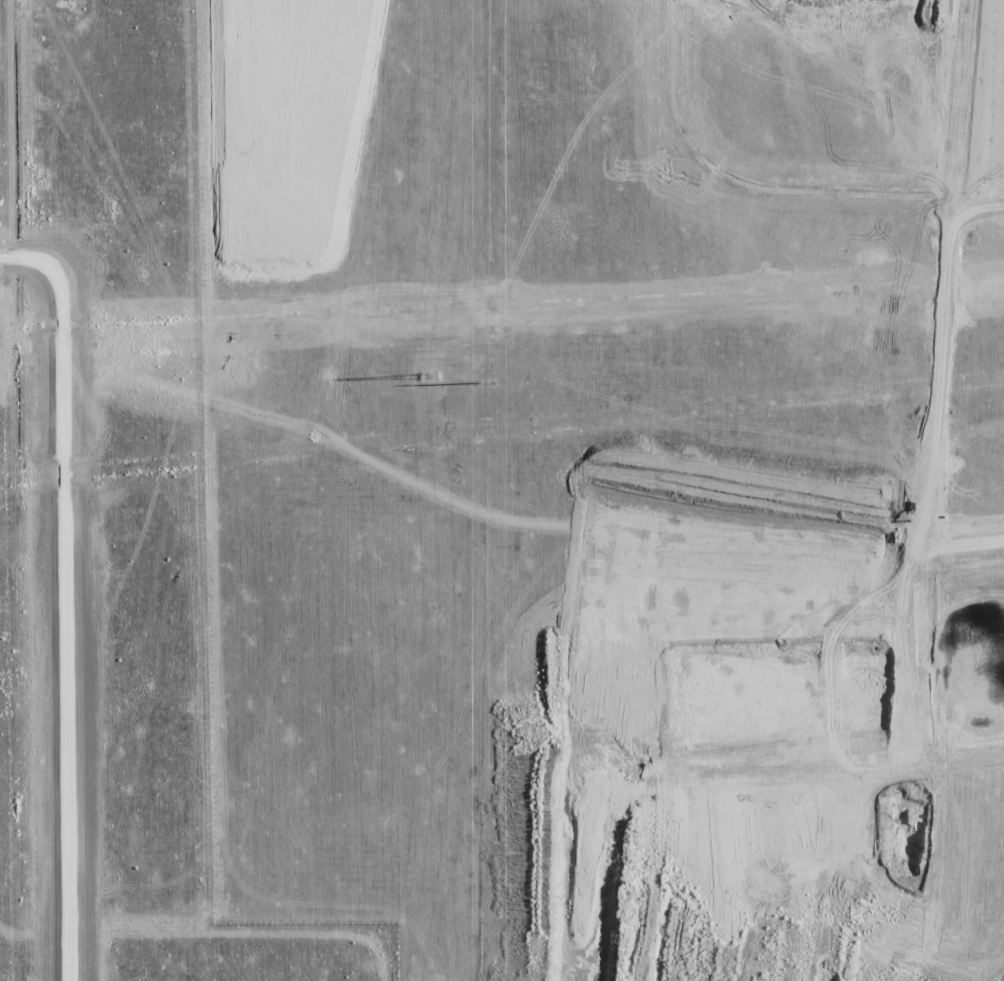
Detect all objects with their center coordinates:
power tower: (427, 376)
power tower: (485, 382)
crop: (502, 490)

